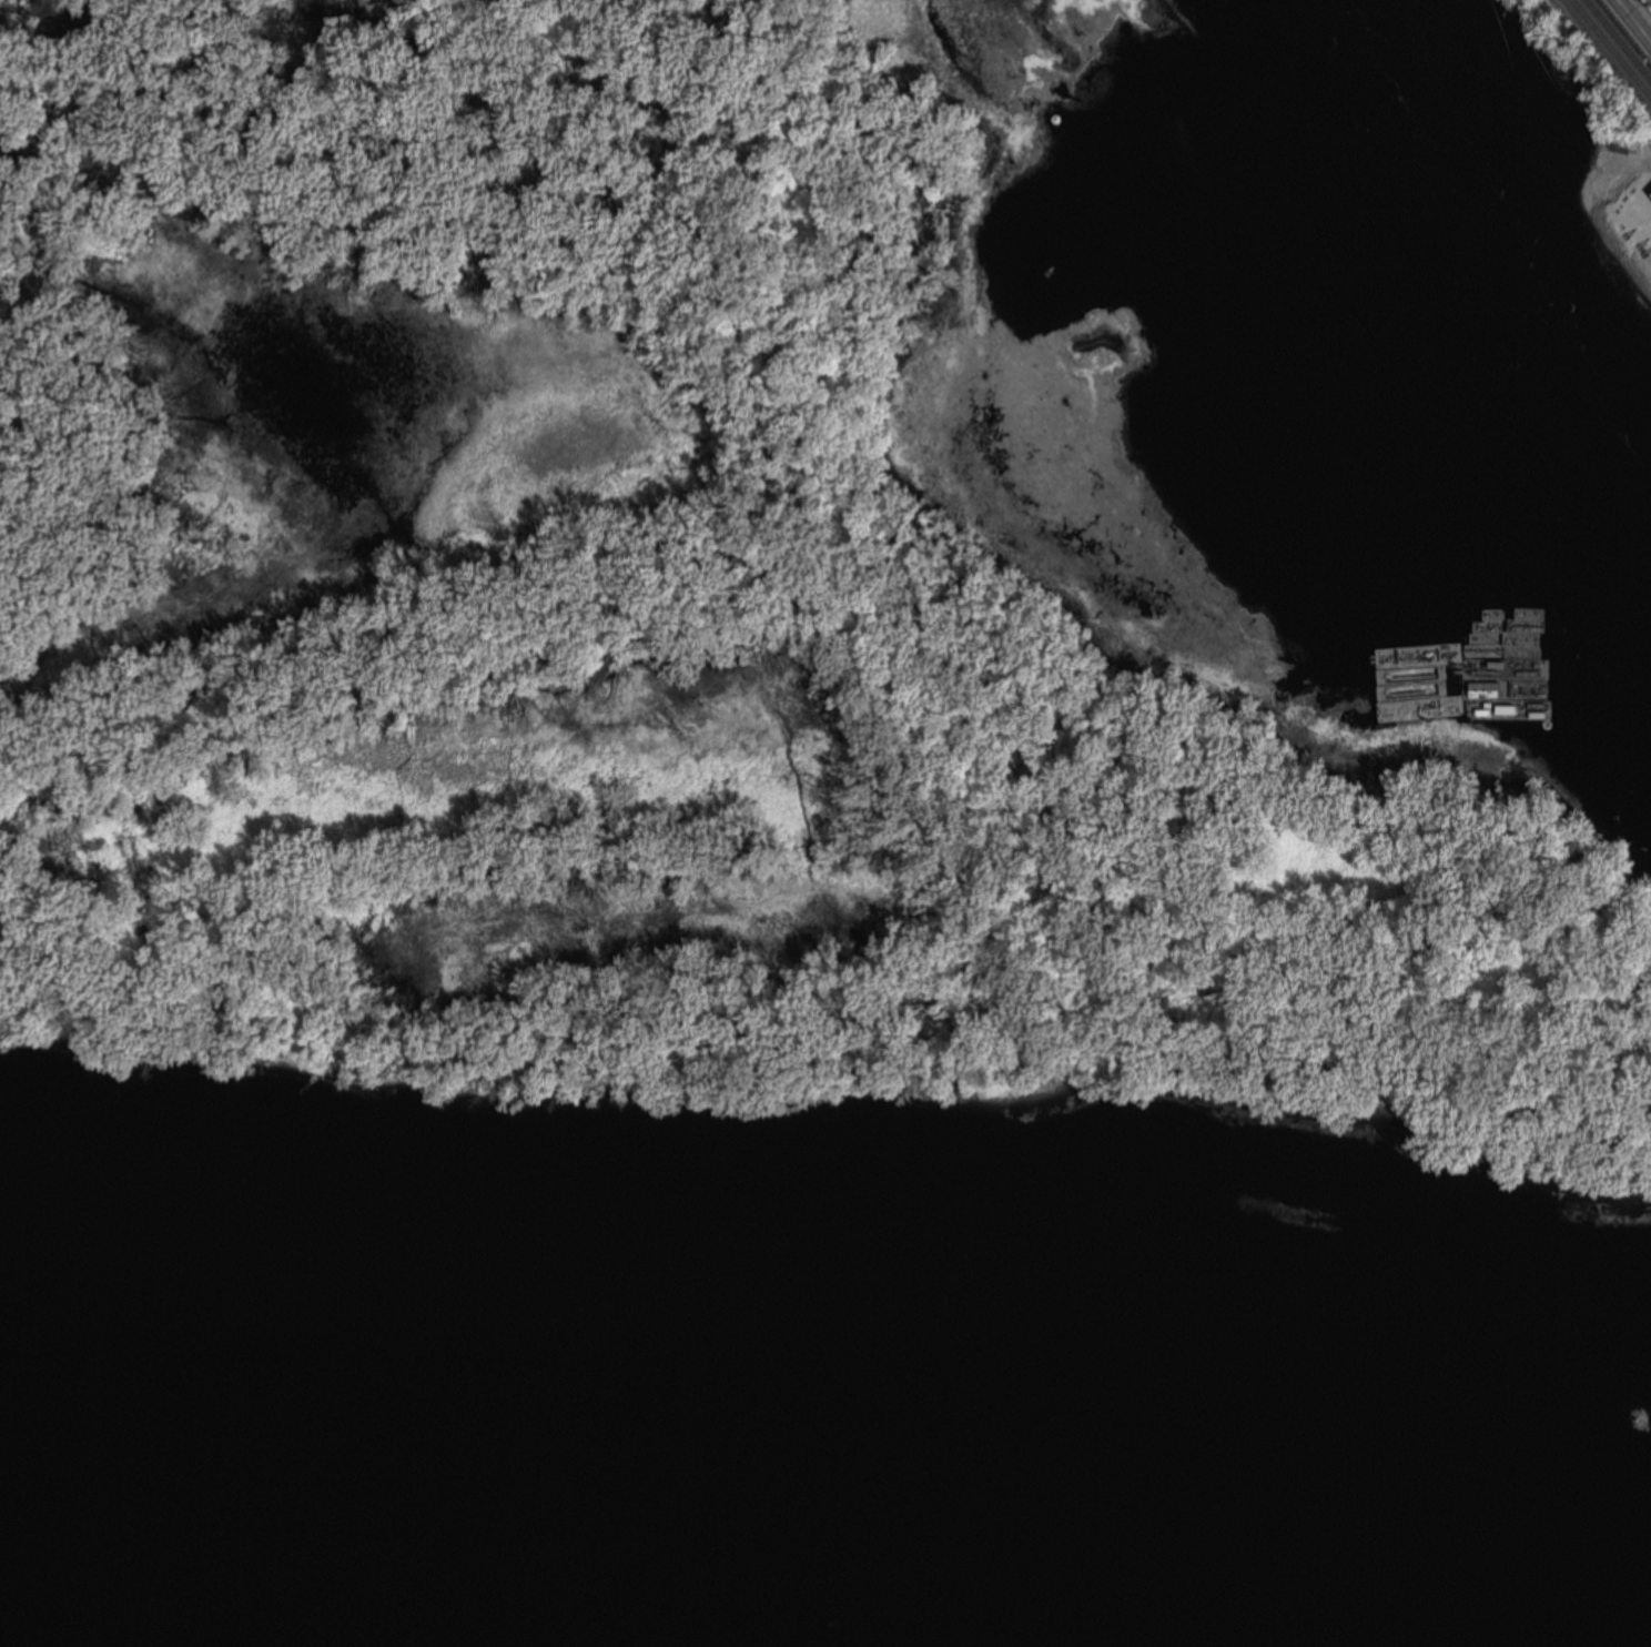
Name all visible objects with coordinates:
road: (1642, 10)
railway: (1619, 39)
railway: (1612, 47)
river: (285, 1589)
river: (780, 1618)

